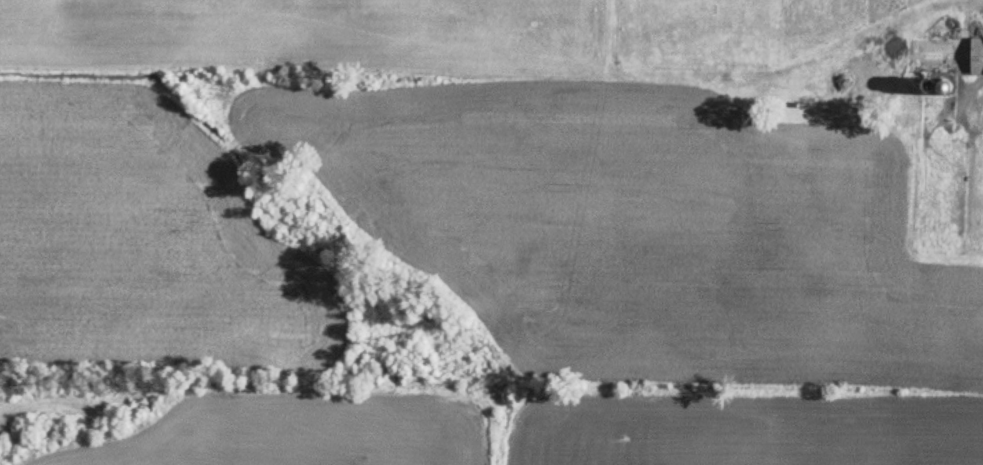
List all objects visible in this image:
building: (976, 56)

